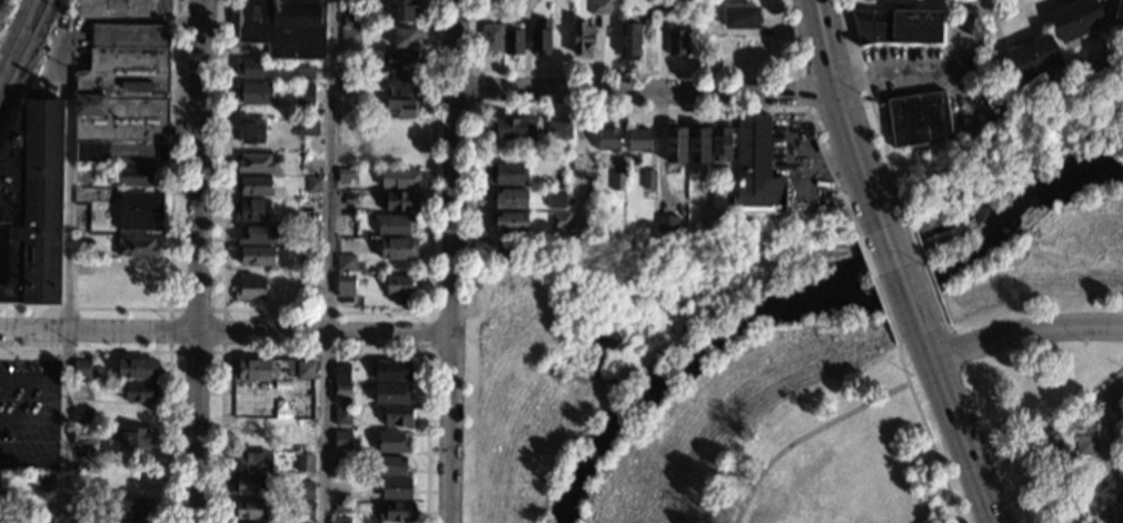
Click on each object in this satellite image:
building: (347, 2)
building: (894, 2)
building: (663, 6)
building: (123, 7)
building: (600, 7)
building: (400, 9)
building: (648, 12)
railway: (36, 13)
building: (351, 17)
building: (741, 17)
building: (1119, 17)
building: (1075, 19)
road: (974, 26)
building: (282, 27)
building: (896, 27)
railway: (14, 31)
building: (349, 37)
building: (491, 37)
building: (407, 38)
building: (550, 38)
building: (583, 38)
building: (630, 40)
building: (514, 41)
building: (677, 41)
railway: (21, 44)
road: (981, 49)
building: (1033, 57)
building: (401, 60)
building: (248, 68)
building: (305, 70)
road: (639, 70)
road: (902, 70)
building: (347, 82)
building: (404, 84)
road: (476, 87)
building: (255, 92)
building: (305, 94)
road: (646, 94)
building: (122, 95)
road: (865, 95)
road: (841, 103)
road: (592, 107)
building: (399, 108)
road: (817, 108)
building: (918, 119)
building: (305, 127)
building: (515, 127)
building: (558, 129)
building: (251, 131)
building: (608, 139)
building: (639, 140)
building: (720, 141)
building: (676, 144)
building: (699, 144)
building: (396, 152)
road: (582, 160)
building: (257, 163)
building: (756, 168)
building: (509, 173)
building: (346, 175)
building: (136, 177)
building: (399, 178)
building: (556, 178)
building: (648, 178)
building: (618, 181)
building: (254, 184)
building: (312, 184)
building: (364, 194)
building: (510, 198)
building: (556, 199)
building: (399, 200)
building: (31, 202)
building: (250, 209)
building: (142, 210)
building: (559, 220)
building: (510, 222)
building: (667, 222)
building: (395, 223)
building: (700, 223)
building: (344, 225)
building: (726, 225)
building: (311, 230)
building: (257, 234)
road: (169, 238)
building: (136, 245)
building: (398, 249)
building: (309, 253)
park: (1027, 253)
building: (257, 255)
road: (197, 261)
road: (326, 261)
road: (453, 261)
road: (922, 262)
building: (345, 263)
building: (136, 268)
road: (873, 274)
road: (901, 274)
road: (66, 276)
building: (309, 280)
building: (87, 284)
building: (345, 284)
building: (249, 286)
building: (399, 288)
river: (811, 294)
road: (169, 308)
road: (327, 310)
road: (429, 311)
road: (1025, 330)
road: (226, 332)
park: (602, 335)
road: (962, 348)
road: (324, 351)
road: (168, 352)
building: (81, 368)
building: (137, 368)
building: (250, 368)
building: (305, 370)
building: (392, 370)
building: (341, 372)
road: (32, 379)
building: (342, 389)
building: (140, 391)
building: (251, 393)
building: (392, 393)
building: (306, 409)
parking lot: (29, 413)
building: (341, 415)
building: (83, 416)
building: (398, 418)
road: (31, 421)
building: (248, 428)
road: (924, 432)
building: (299, 433)
road: (961, 433)
building: (81, 435)
road: (803, 435)
building: (138, 437)
park: (787, 437)
building: (341, 439)
building: (392, 442)
road: (998, 443)
building: (1085, 444)
building: (1053, 449)
road: (1107, 457)
road: (31, 461)
building: (250, 462)
building: (304, 462)
building: (389, 465)
building: (42, 481)
building: (1121, 481)
building: (132, 483)
building: (248, 484)
building: (395, 487)
building: (0, 490)
building: (306, 490)
park: (1062, 500)
building: (44, 503)
building: (81, 505)
building: (128, 506)
building: (340, 506)
building: (1121, 506)
building: (248, 509)
building: (305, 509)
building: (395, 511)
building: (340, 520)
building: (43, 521)
building: (136, 522)
building: (247, 522)

